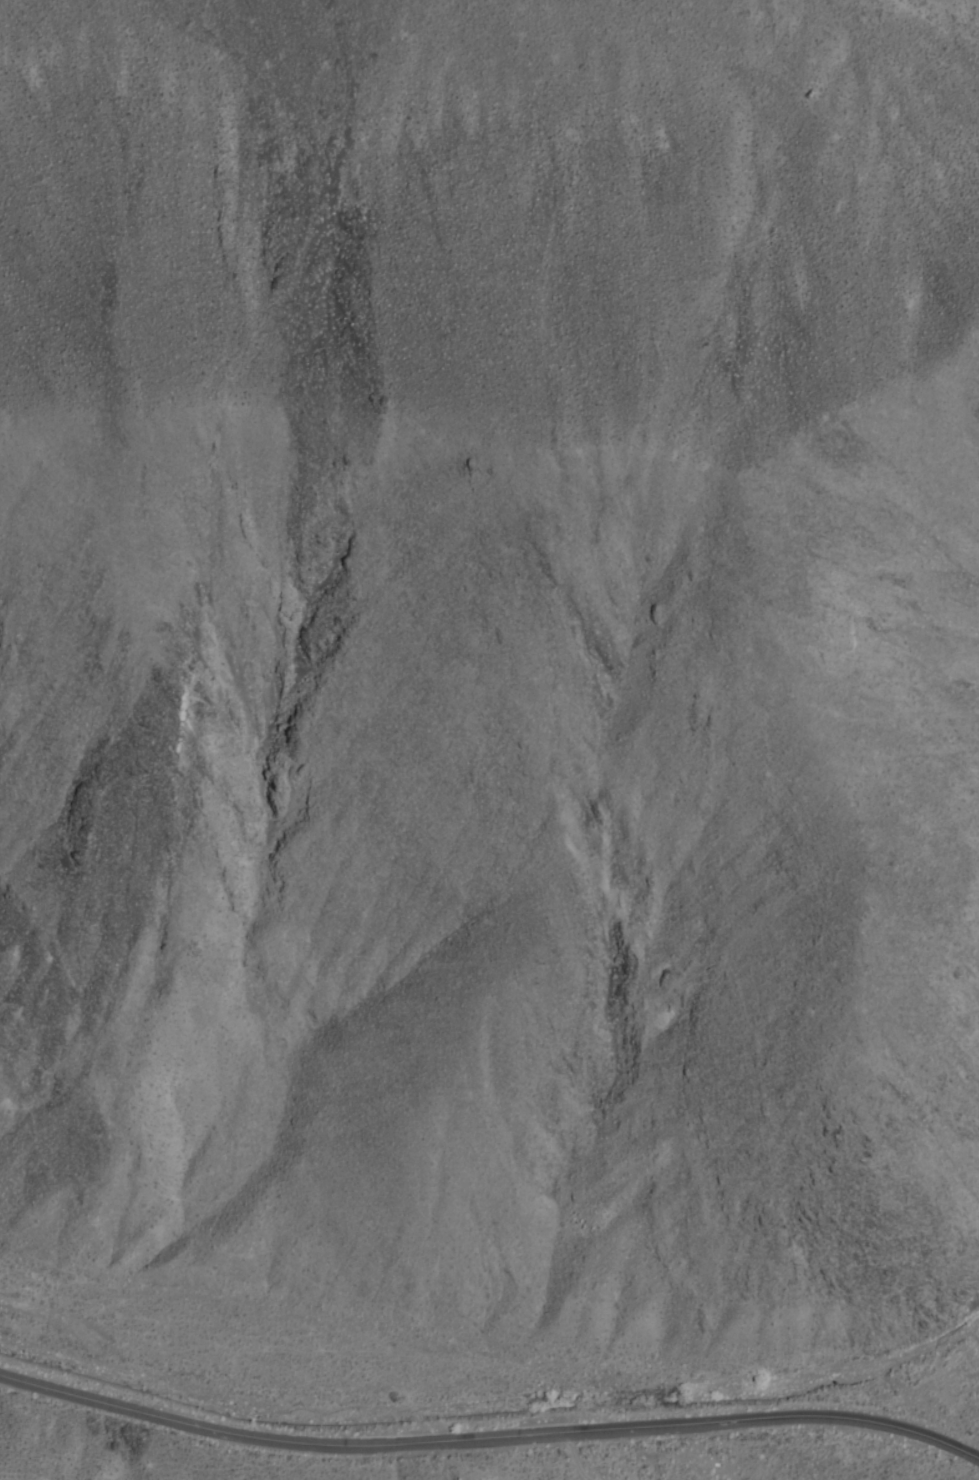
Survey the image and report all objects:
road: (861, 1367)
road: (488, 1439)
road: (574, 1457)

